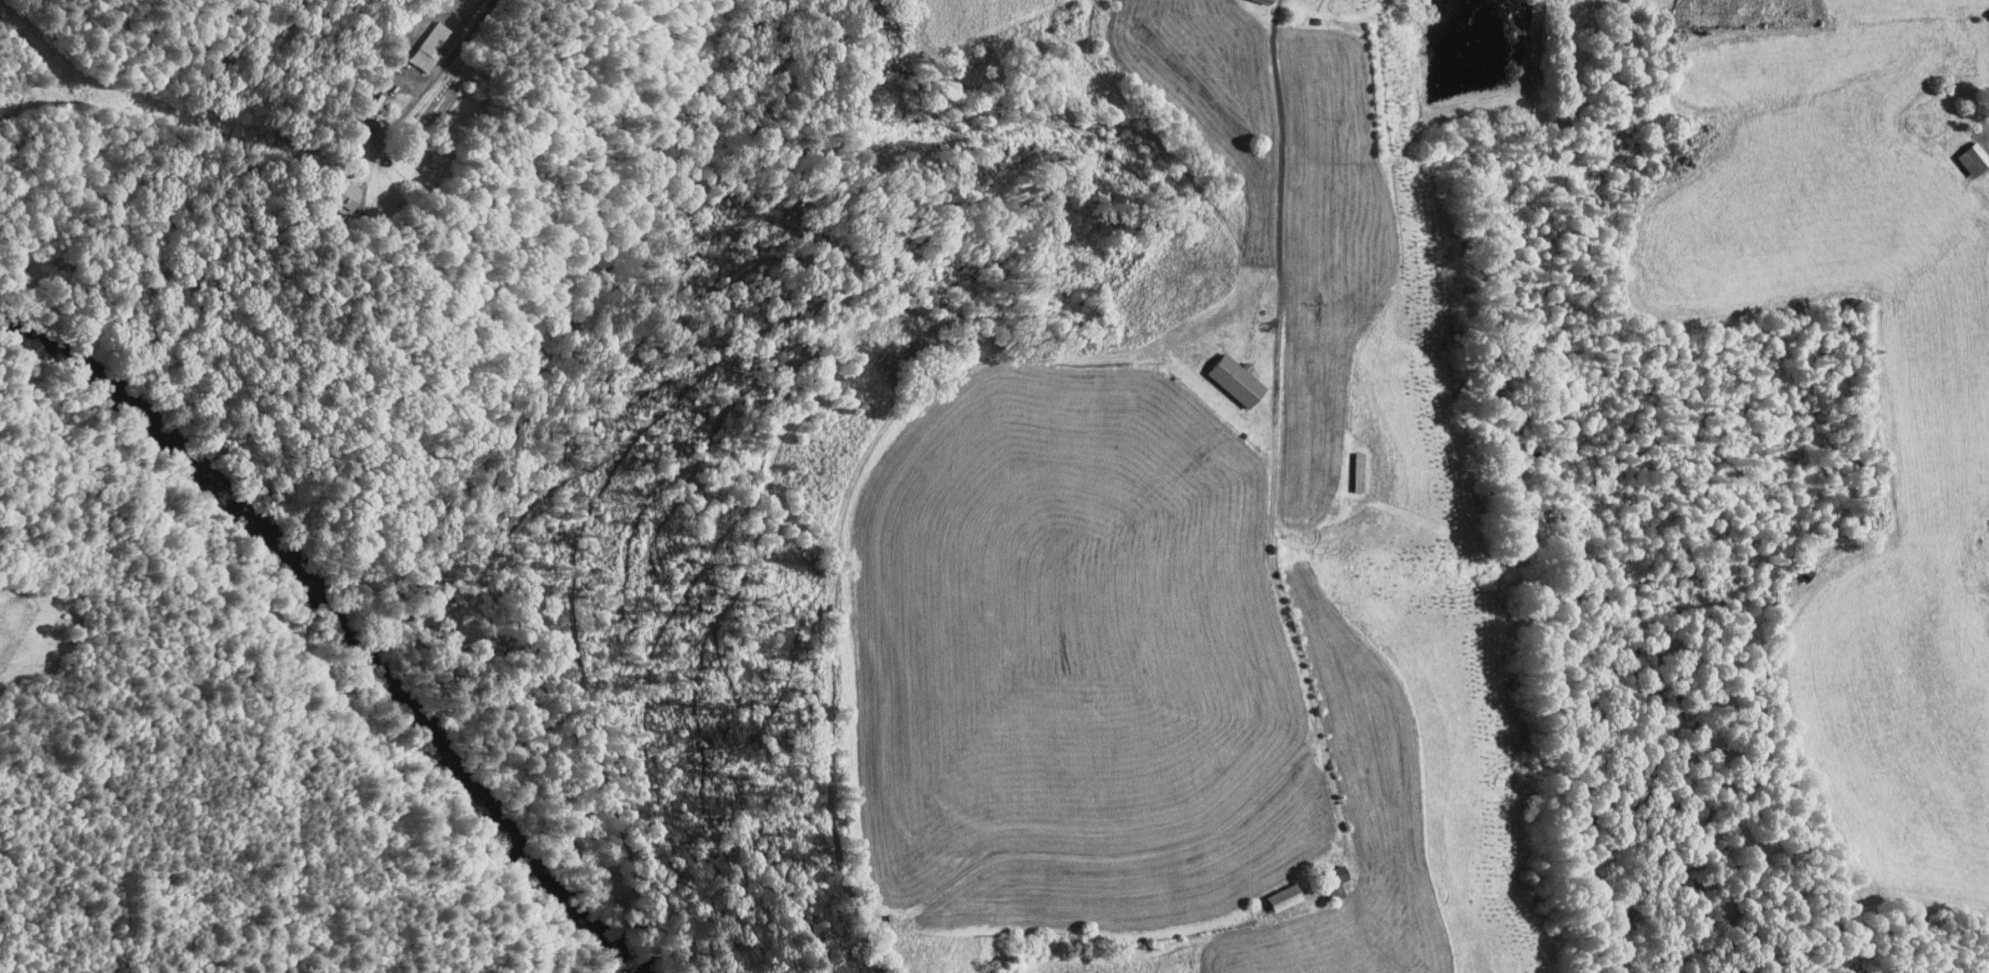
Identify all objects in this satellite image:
building: (415, 40)
road: (29, 62)
road: (471, 77)
building: (1960, 151)
building: (326, 188)
building: (1222, 372)
road: (1278, 413)
river: (198, 444)
building: (1346, 465)
building: (1984, 626)
river: (502, 796)
building: (1320, 874)
building: (1270, 891)

